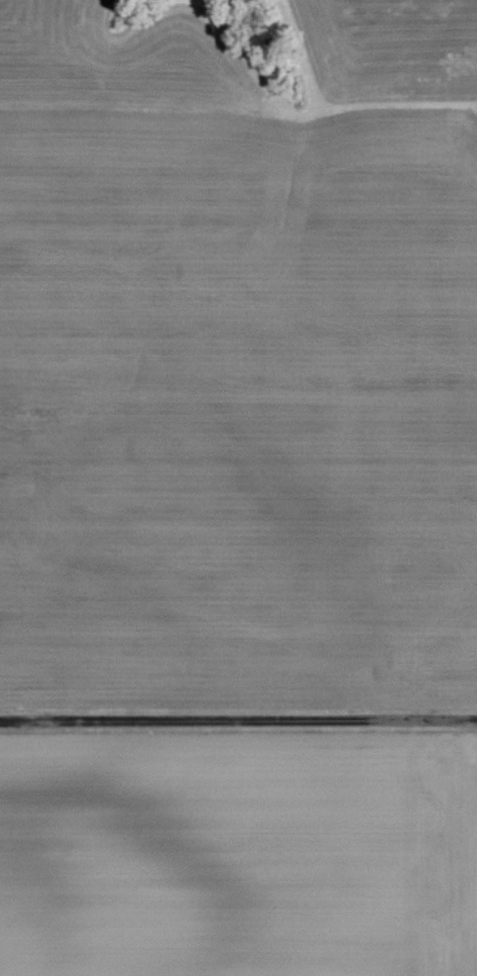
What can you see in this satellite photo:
road: (238, 709)

